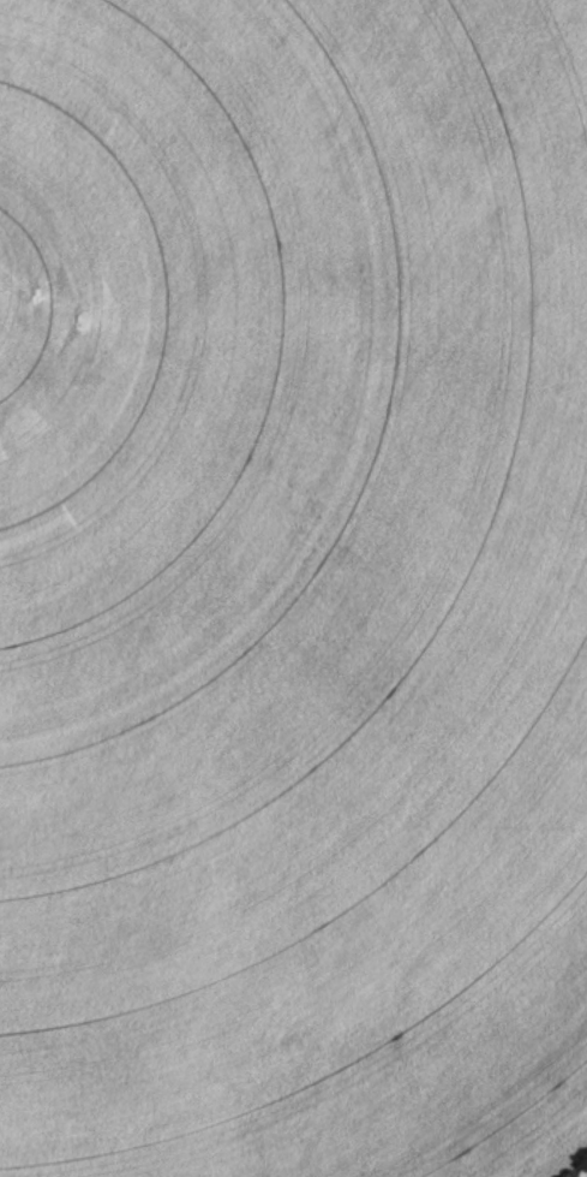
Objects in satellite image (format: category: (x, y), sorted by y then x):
wastewater plant: (293, 588)

